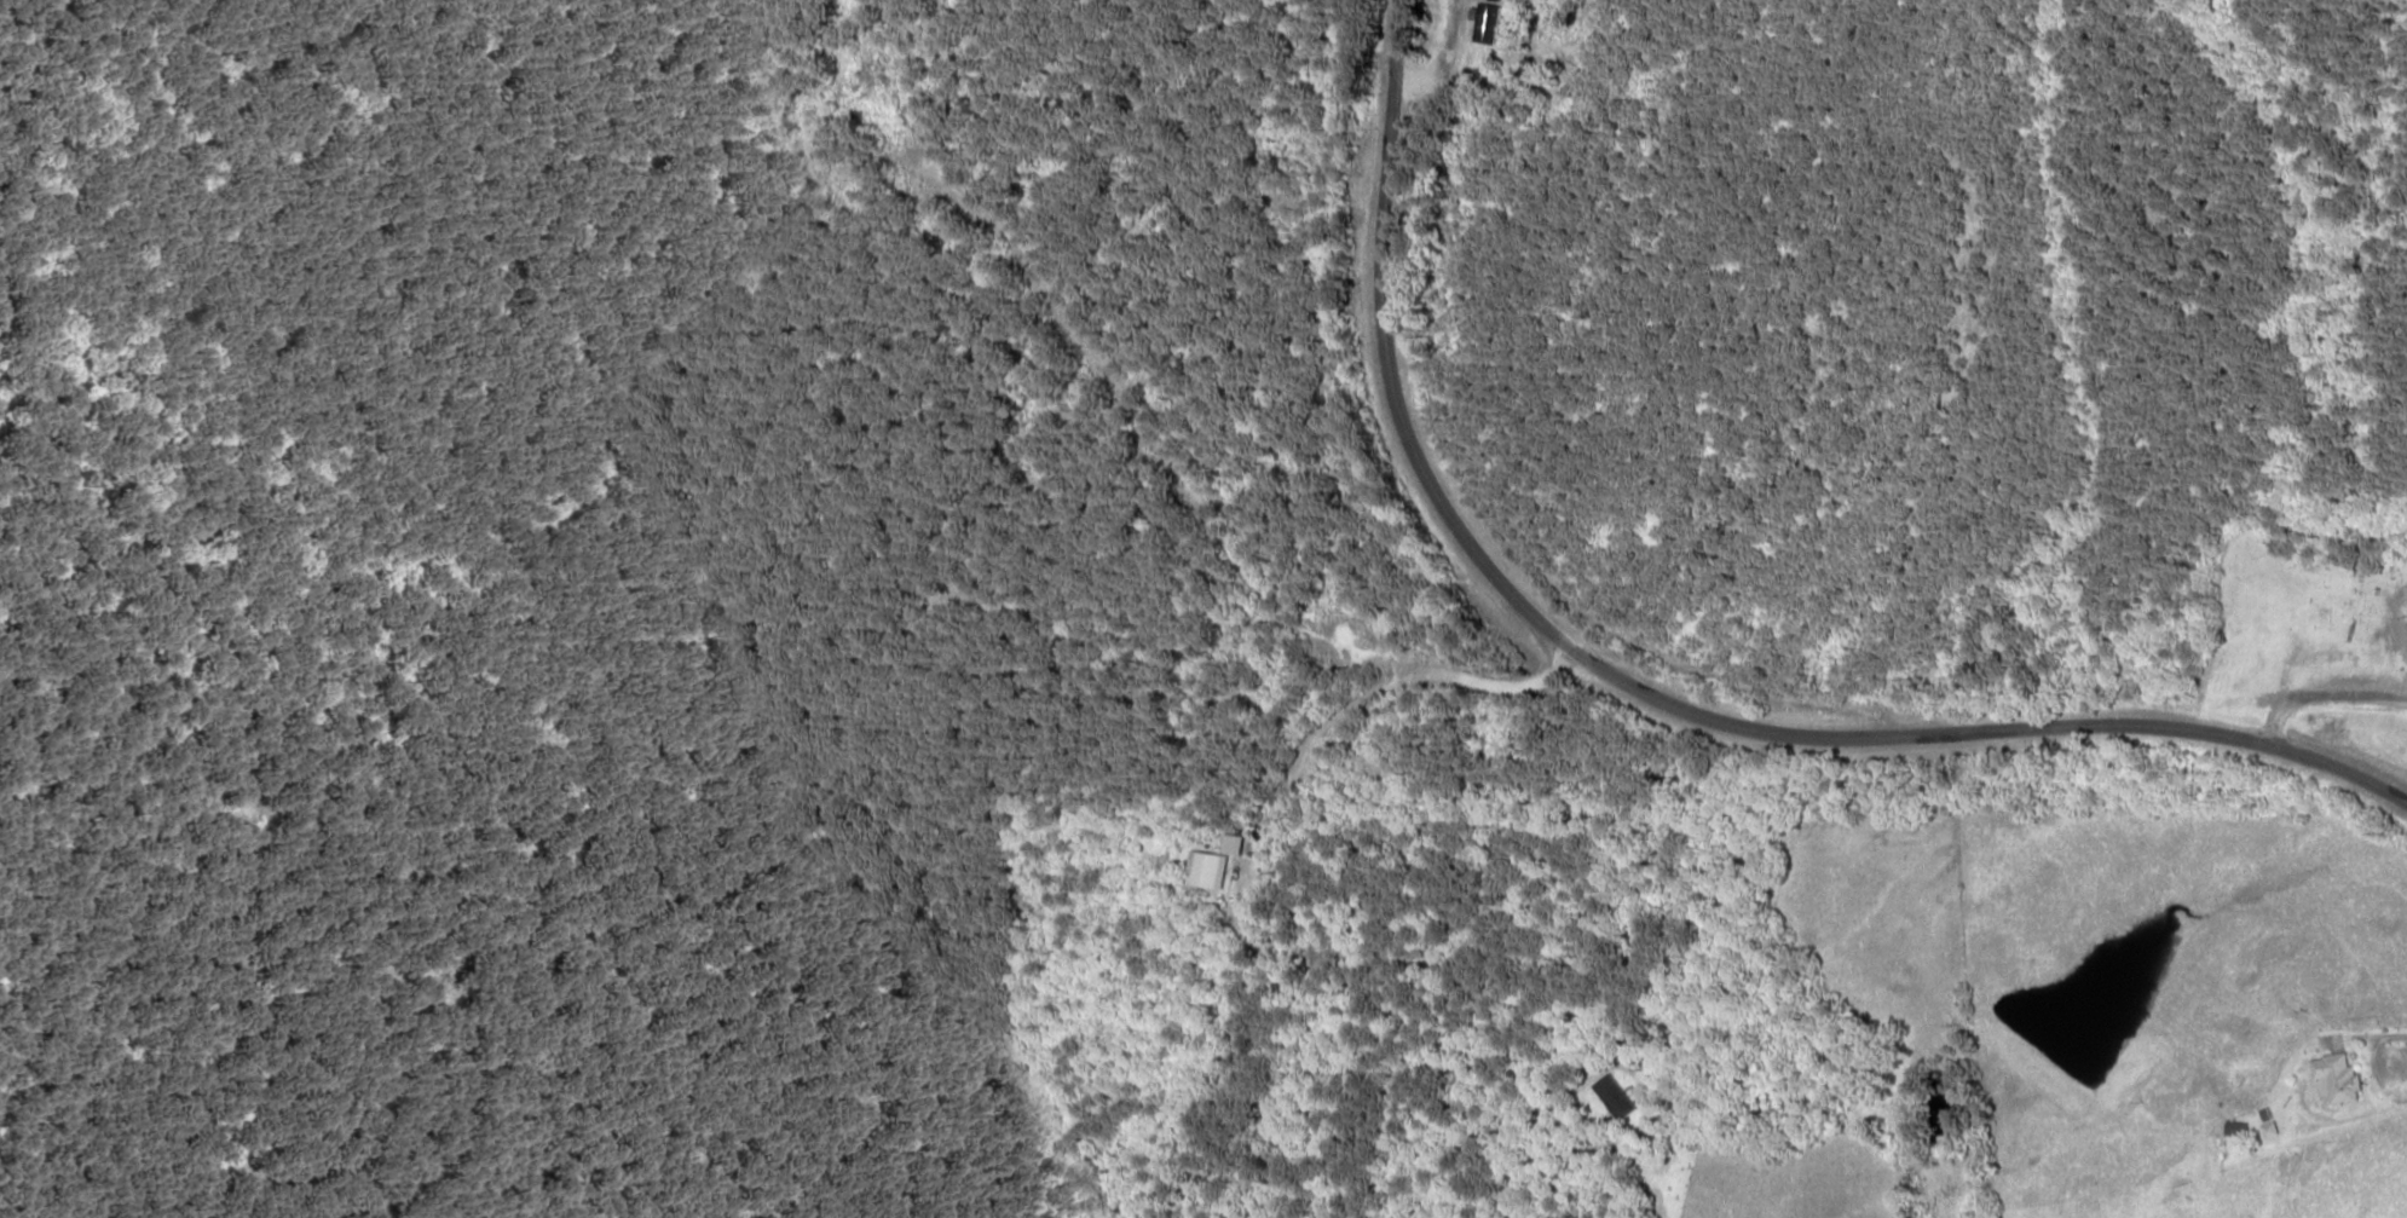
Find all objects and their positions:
road: (1640, 687)
road: (1278, 841)
building: (1207, 868)
building: (2337, 1078)
building: (2236, 1128)

